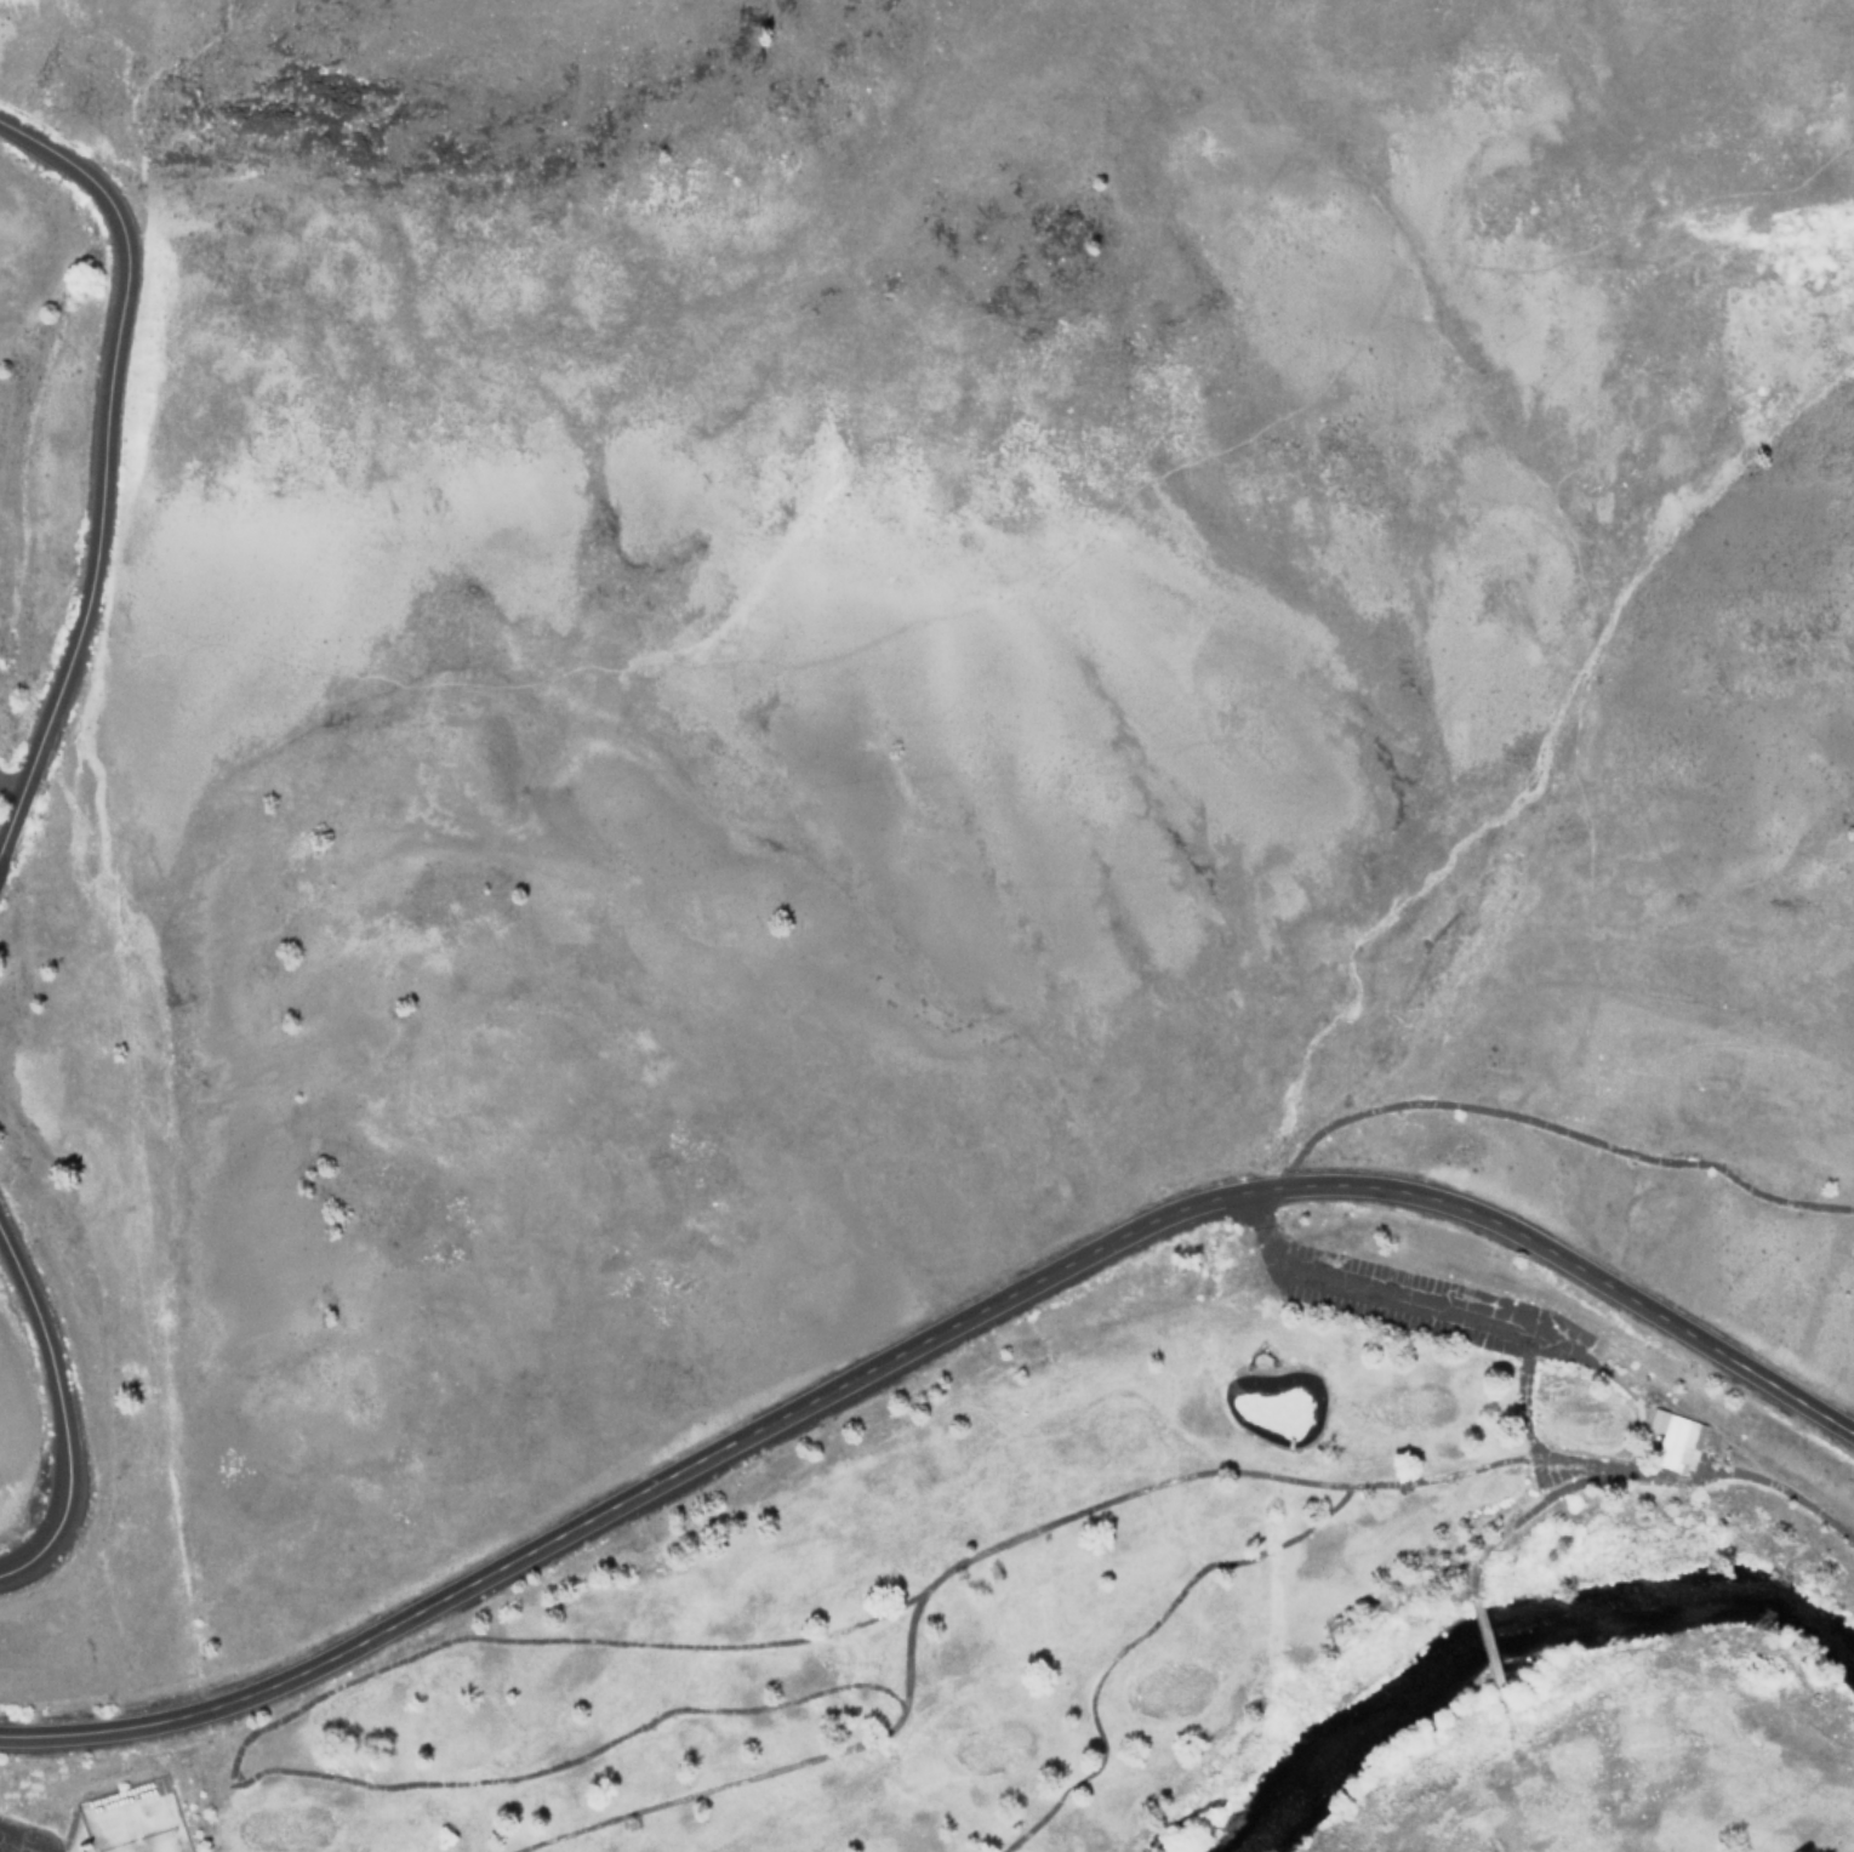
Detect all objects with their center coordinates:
road: (105, 472)
road: (919, 616)
road: (1396, 1299)
road: (929, 1338)
road: (57, 1411)
building: (1671, 1440)
park: (1140, 1611)
river: (1516, 1632)

